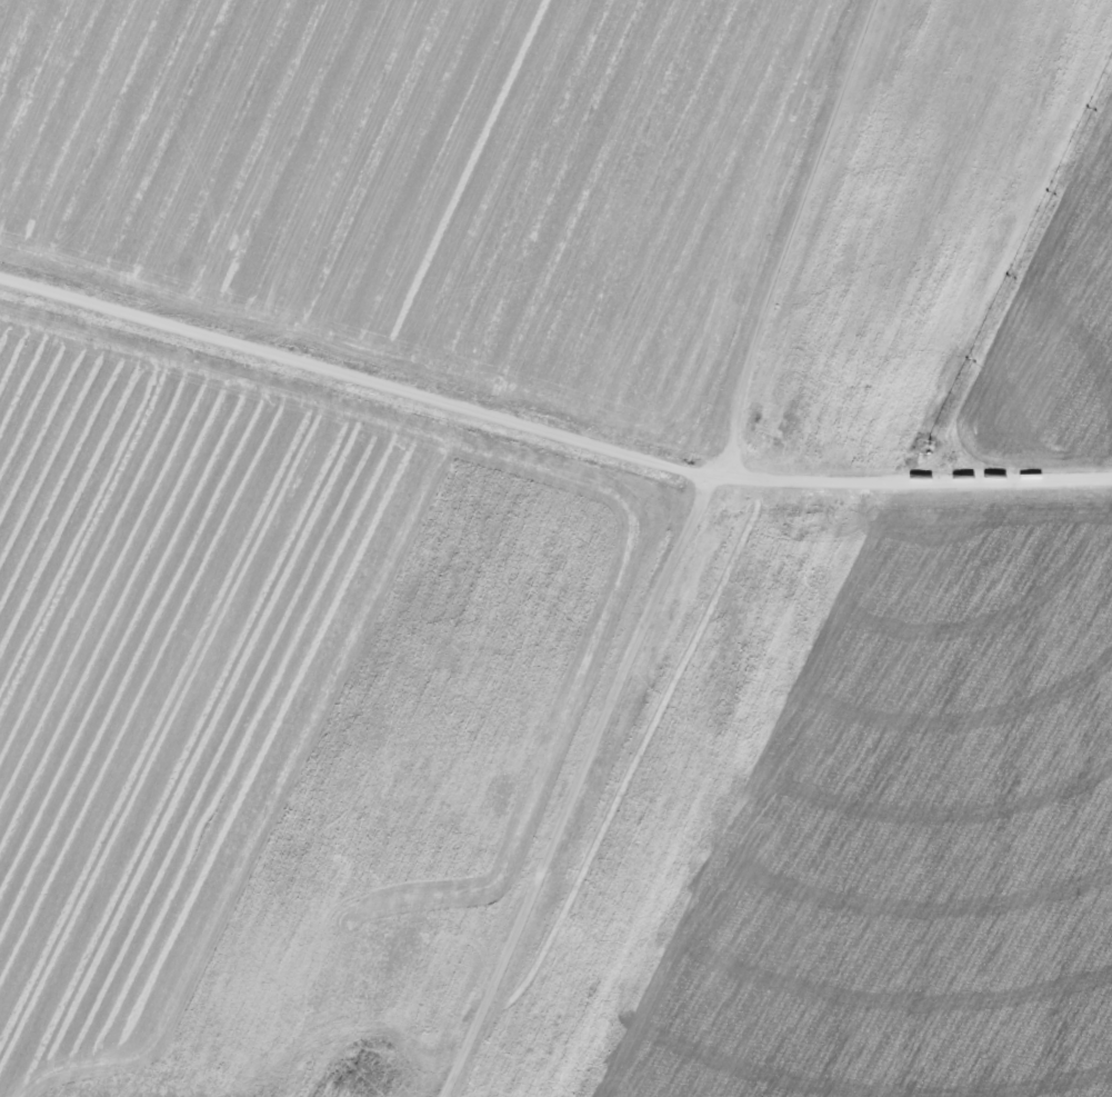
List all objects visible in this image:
road: (351, 370)

